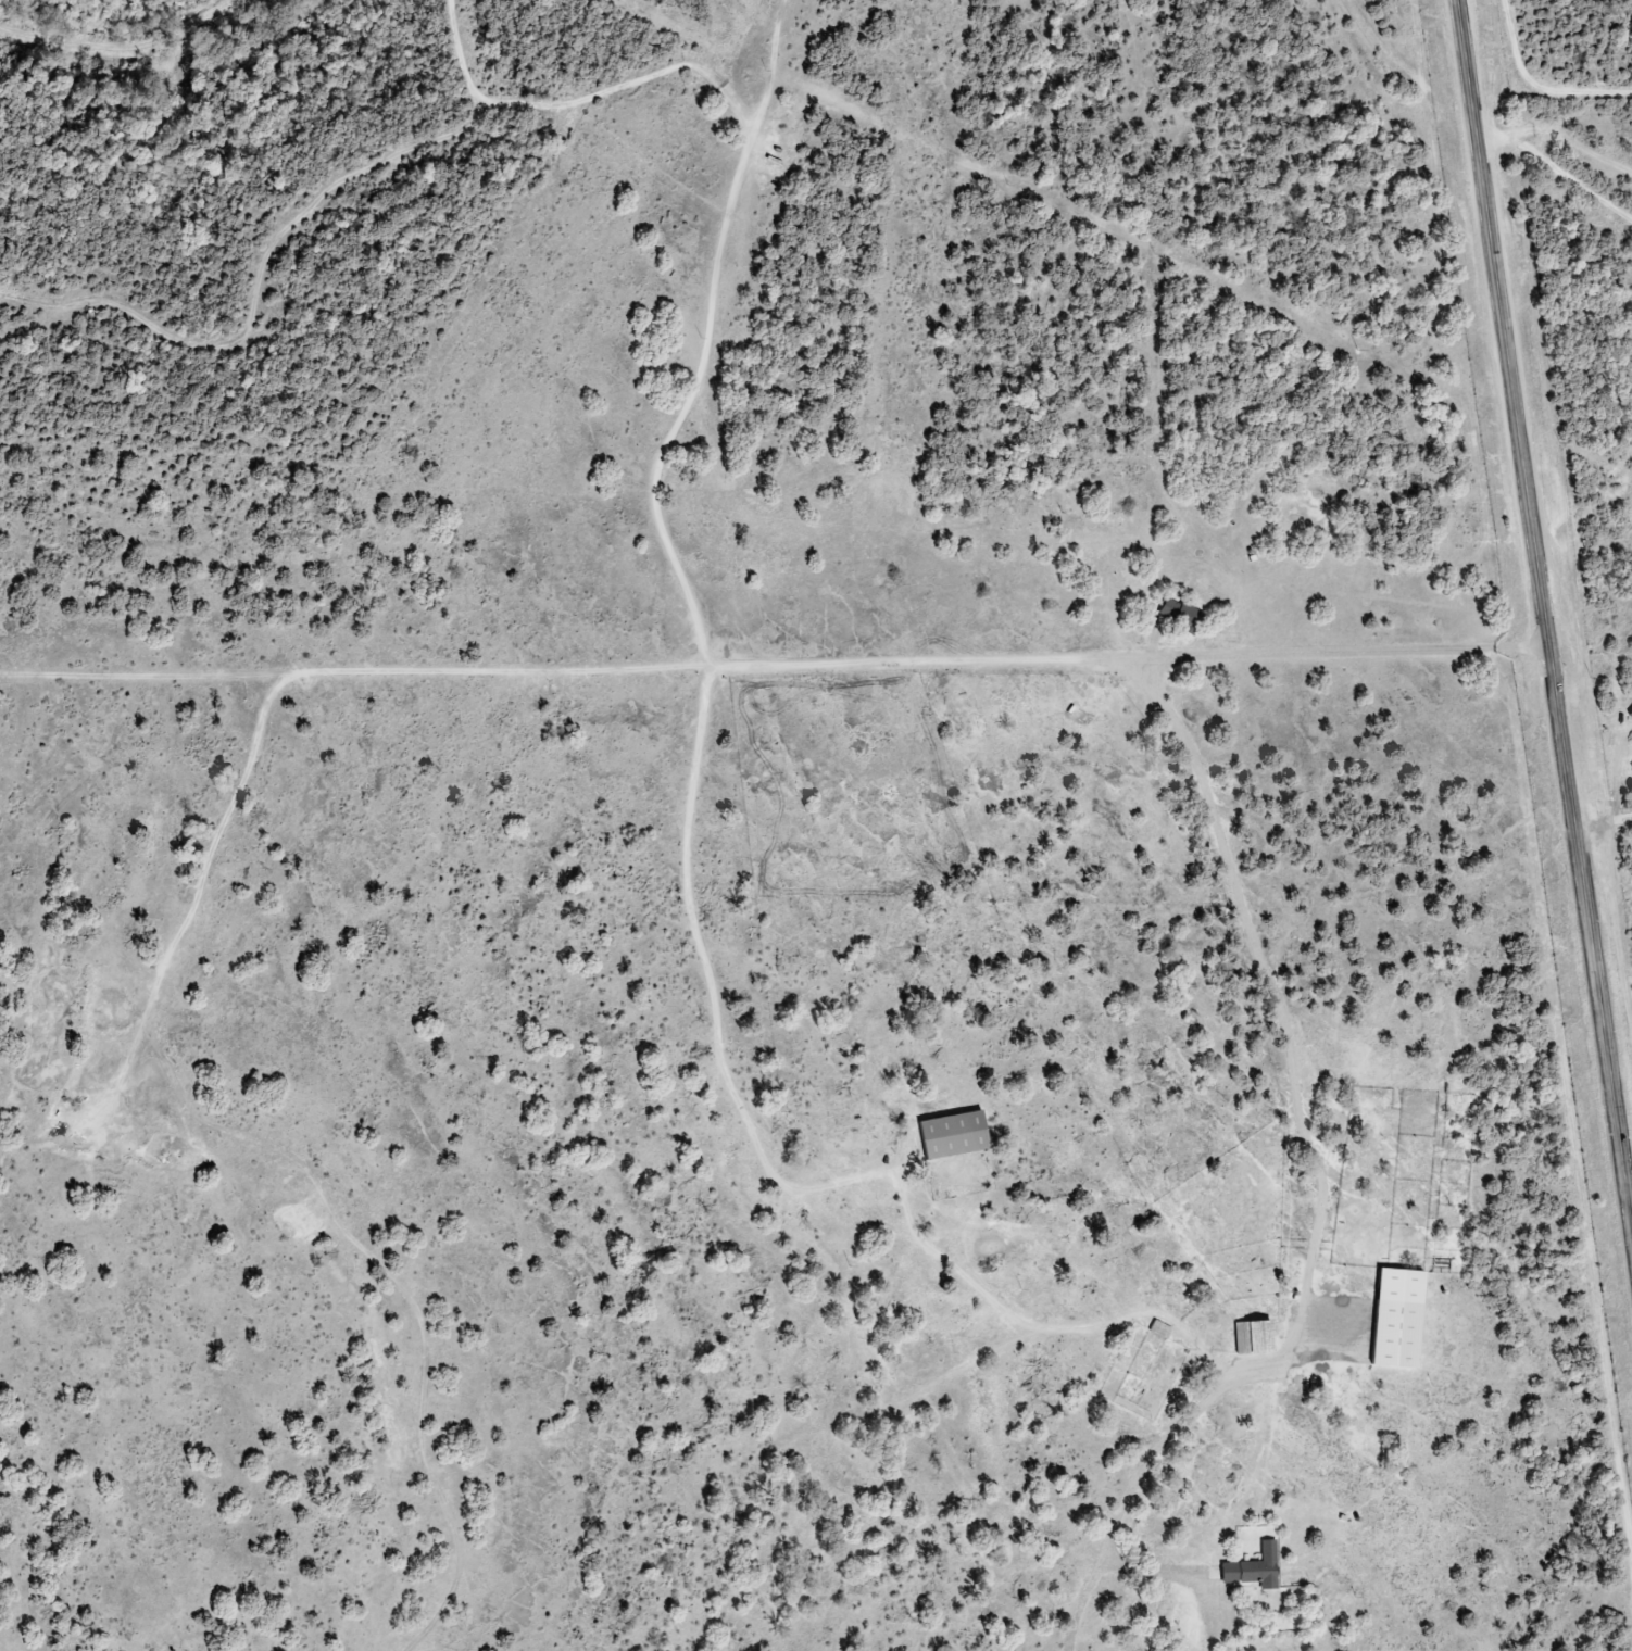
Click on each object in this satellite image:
building: (1179, 614)
road: (1543, 628)
building: (953, 1135)
building: (1398, 1318)
building: (1254, 1337)
building: (1255, 1568)

